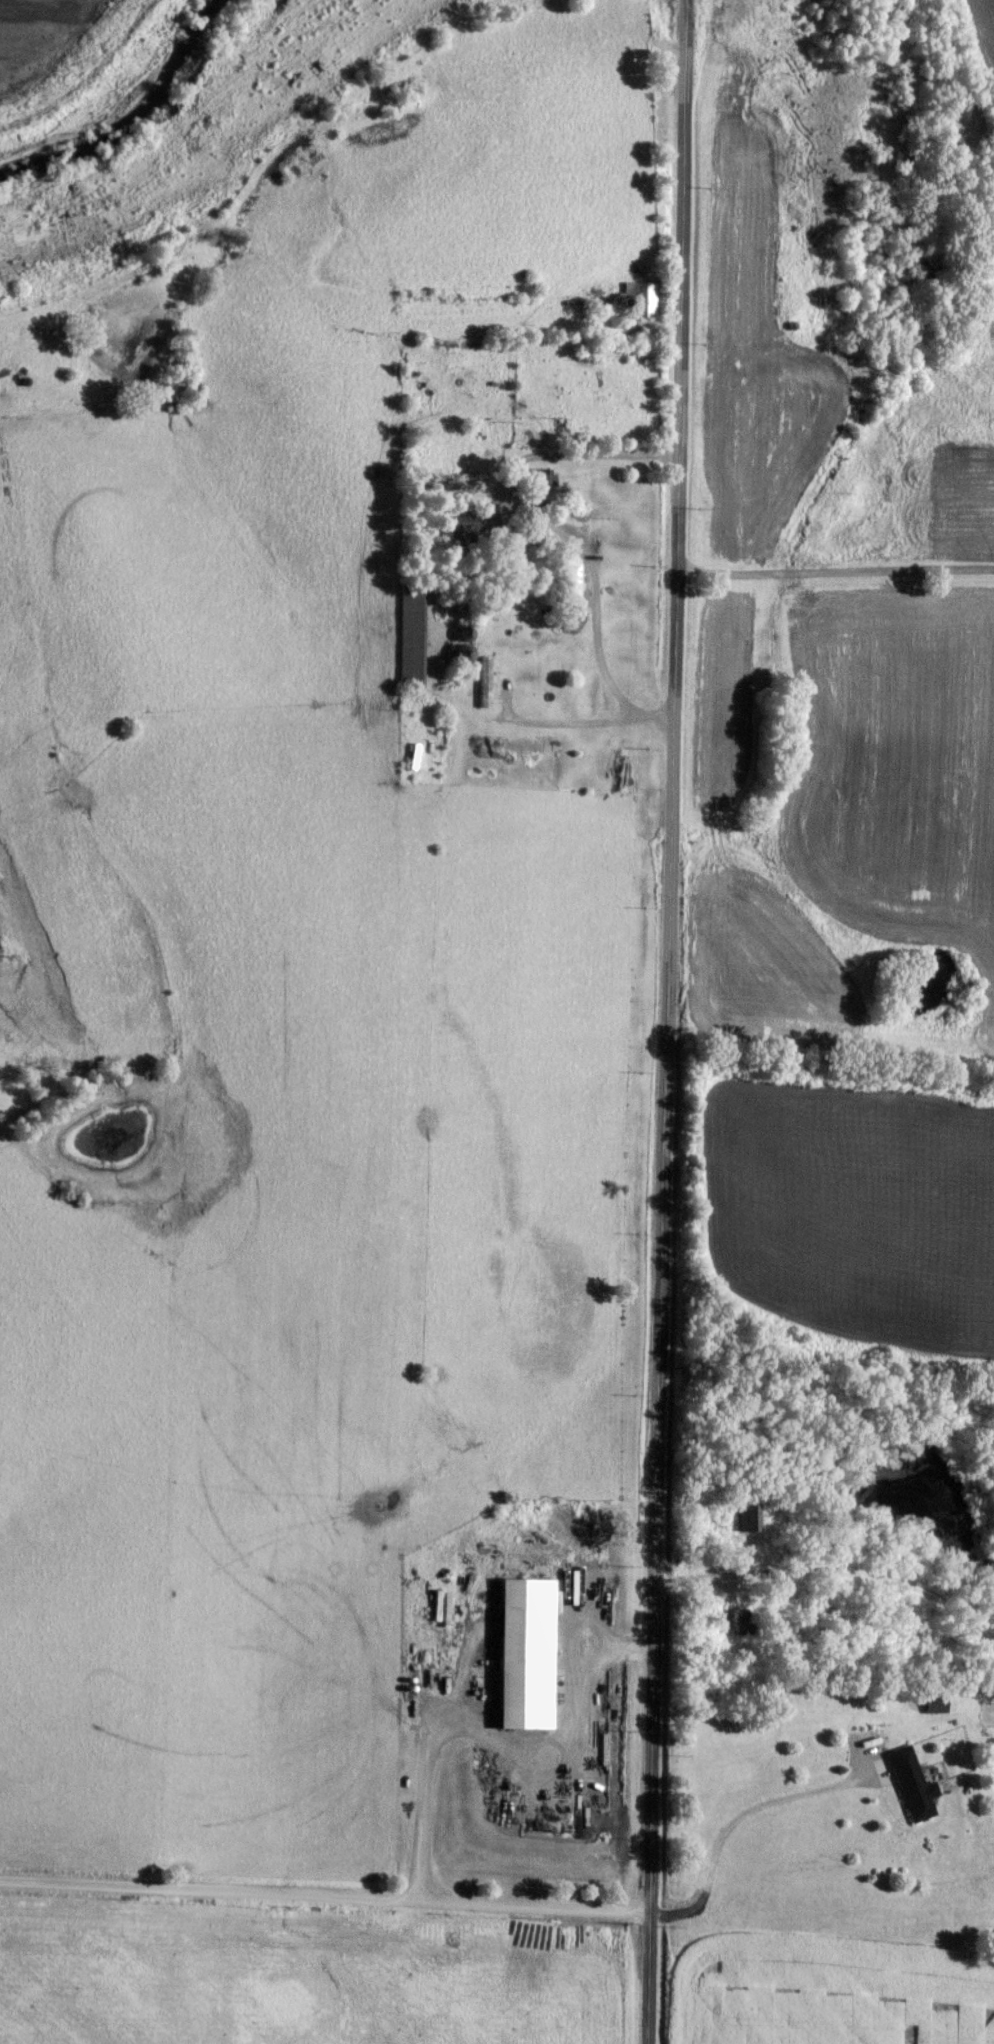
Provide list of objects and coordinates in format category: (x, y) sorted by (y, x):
building: (640, 300)
building: (583, 347)
building: (534, 485)
road: (548, 525)
building: (467, 533)
building: (519, 560)
road: (835, 569)
building: (574, 589)
building: (409, 633)
road: (524, 719)
road: (668, 1022)
building: (733, 1621)
building: (933, 1703)
road: (483, 1734)
building: (911, 1785)
road: (727, 1825)
road: (320, 1904)

